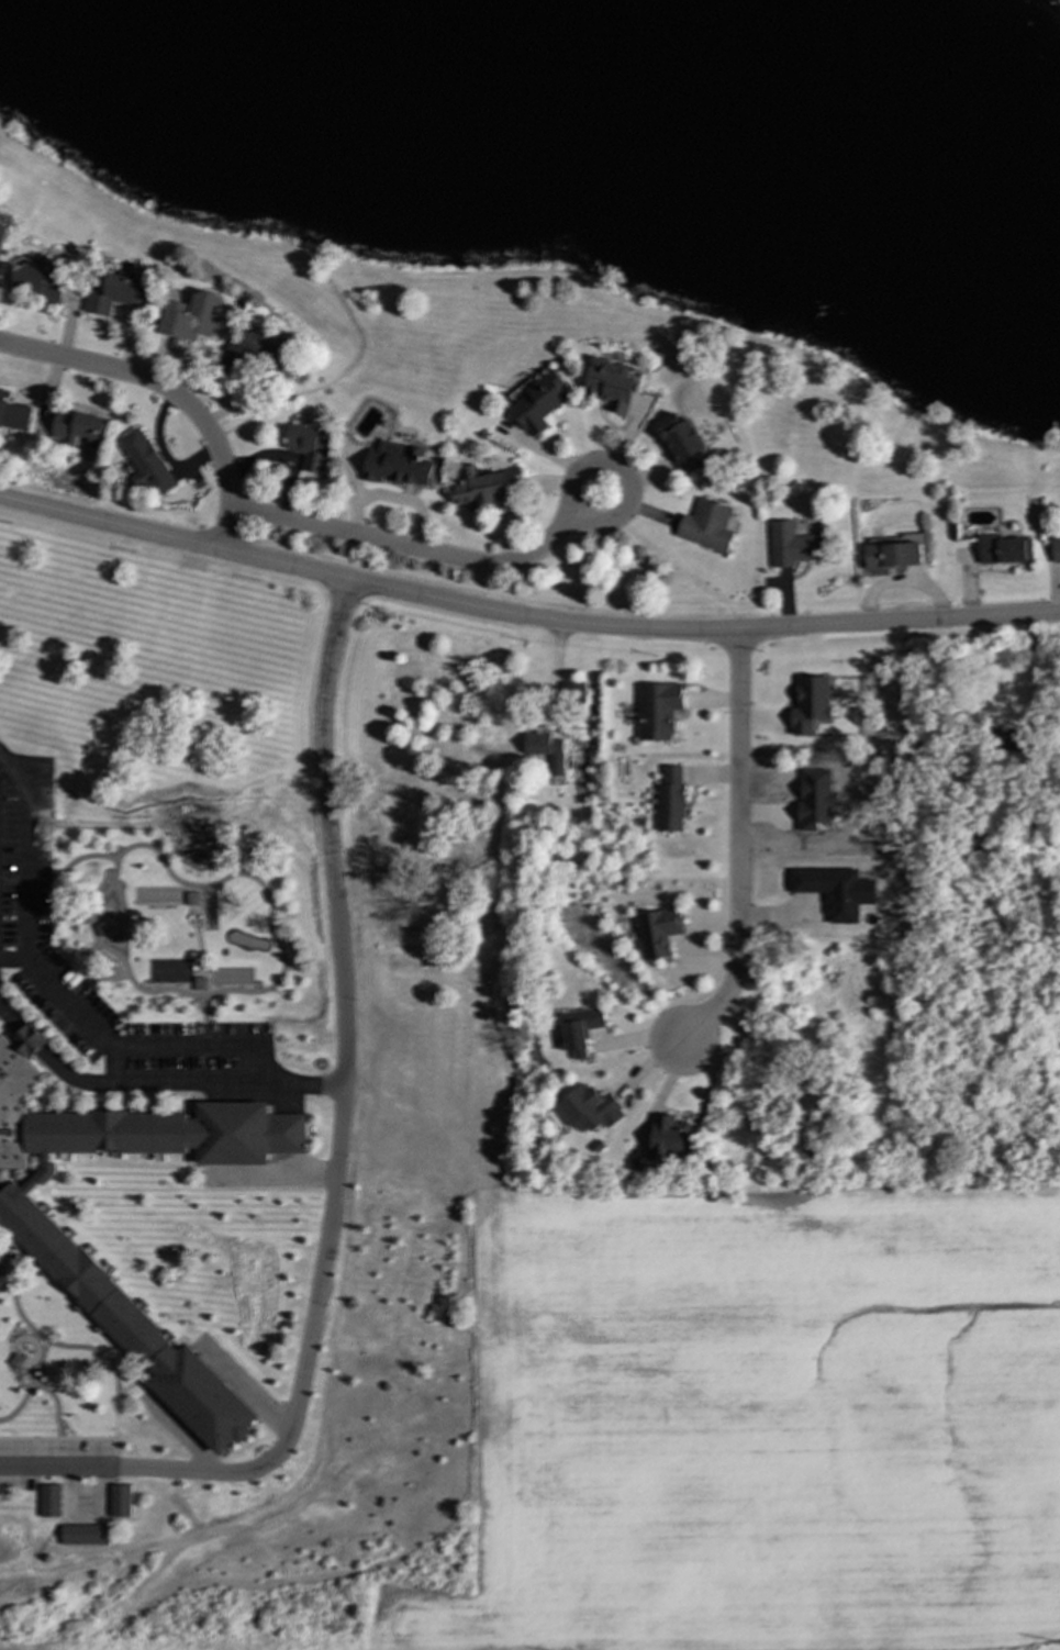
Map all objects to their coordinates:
building: (2, 235)
road: (533, 271)
building: (38, 281)
building: (119, 294)
building: (192, 316)
building: (253, 355)
road: (339, 375)
building: (610, 384)
road: (169, 393)
building: (0, 394)
building: (536, 402)
building: (13, 415)
building: (79, 428)
building: (681, 443)
building: (306, 446)
building: (145, 462)
building: (397, 465)
road: (626, 481)
building: (483, 487)
building: (706, 525)
building: (791, 545)
building: (1056, 546)
road: (408, 548)
building: (1004, 549)
building: (891, 554)
road: (523, 617)
building: (810, 704)
building: (657, 710)
building: (546, 750)
building: (816, 799)
building: (670, 800)
road: (741, 847)
road: (68, 863)
road: (26, 866)
building: (835, 890)
park: (159, 895)
building: (192, 899)
road: (268, 905)
park: (208, 911)
building: (103, 928)
building: (658, 932)
road: (197, 940)
road: (87, 957)
park: (168, 971)
park: (230, 975)
road: (89, 977)
building: (200, 984)
road: (77, 1015)
building: (581, 1029)
road: (202, 1047)
road: (154, 1081)
building: (588, 1110)
building: (667, 1138)
road: (334, 1159)
building: (37, 1235)
crop: (758, 1422)
building: (48, 1501)
building: (119, 1501)
building: (83, 1535)

